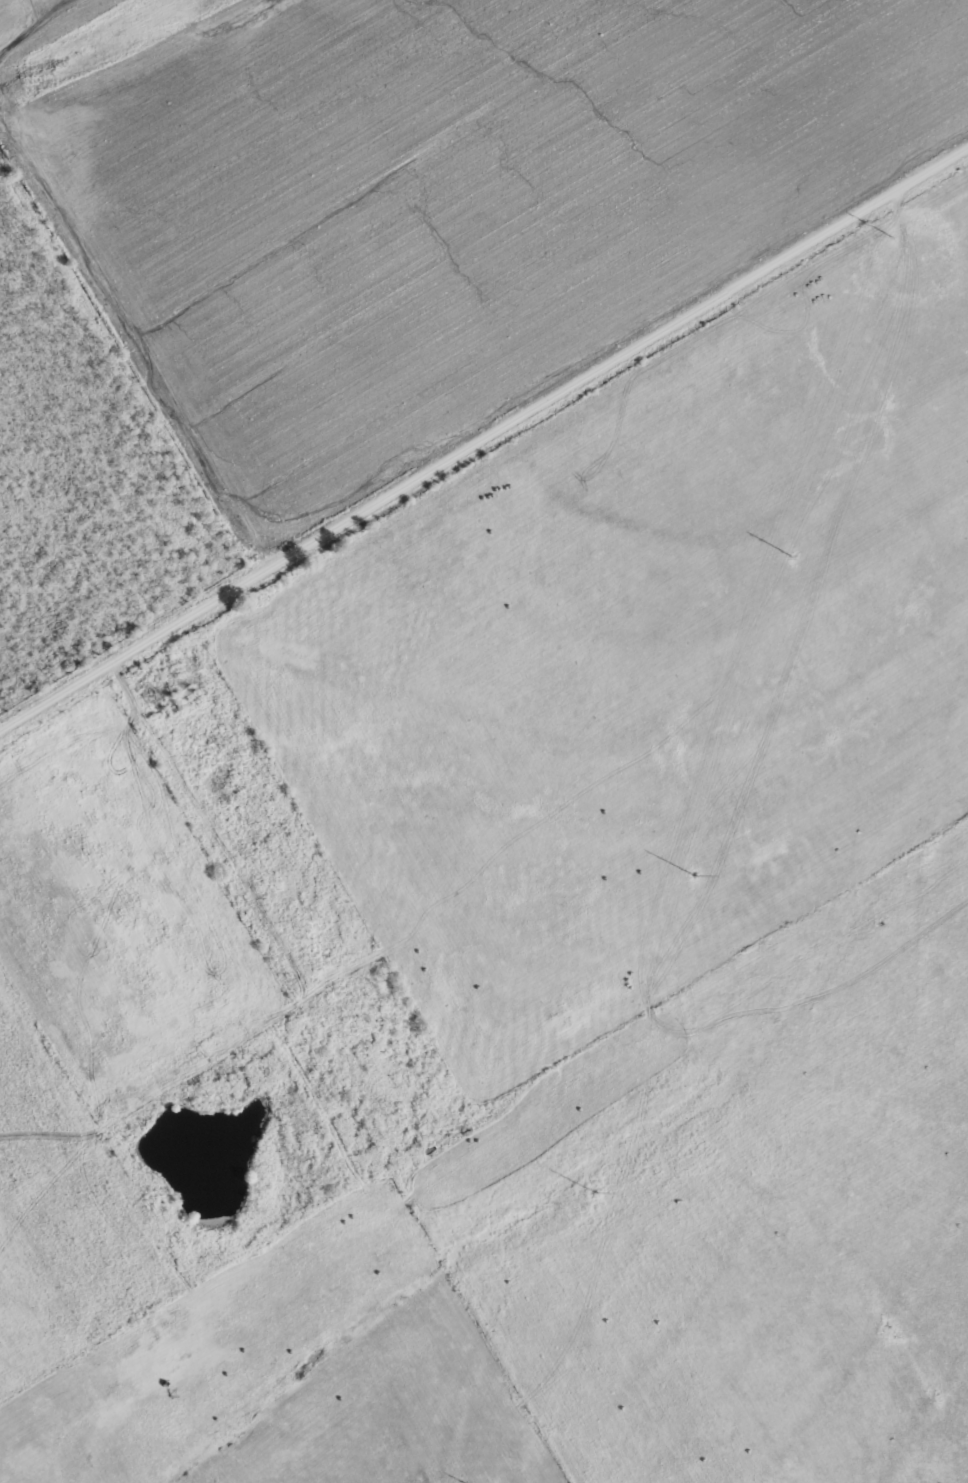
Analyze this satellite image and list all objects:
power tower: (896, 236)
road: (483, 433)
power tower: (795, 556)
power tower: (696, 875)
power tower: (595, 1191)

